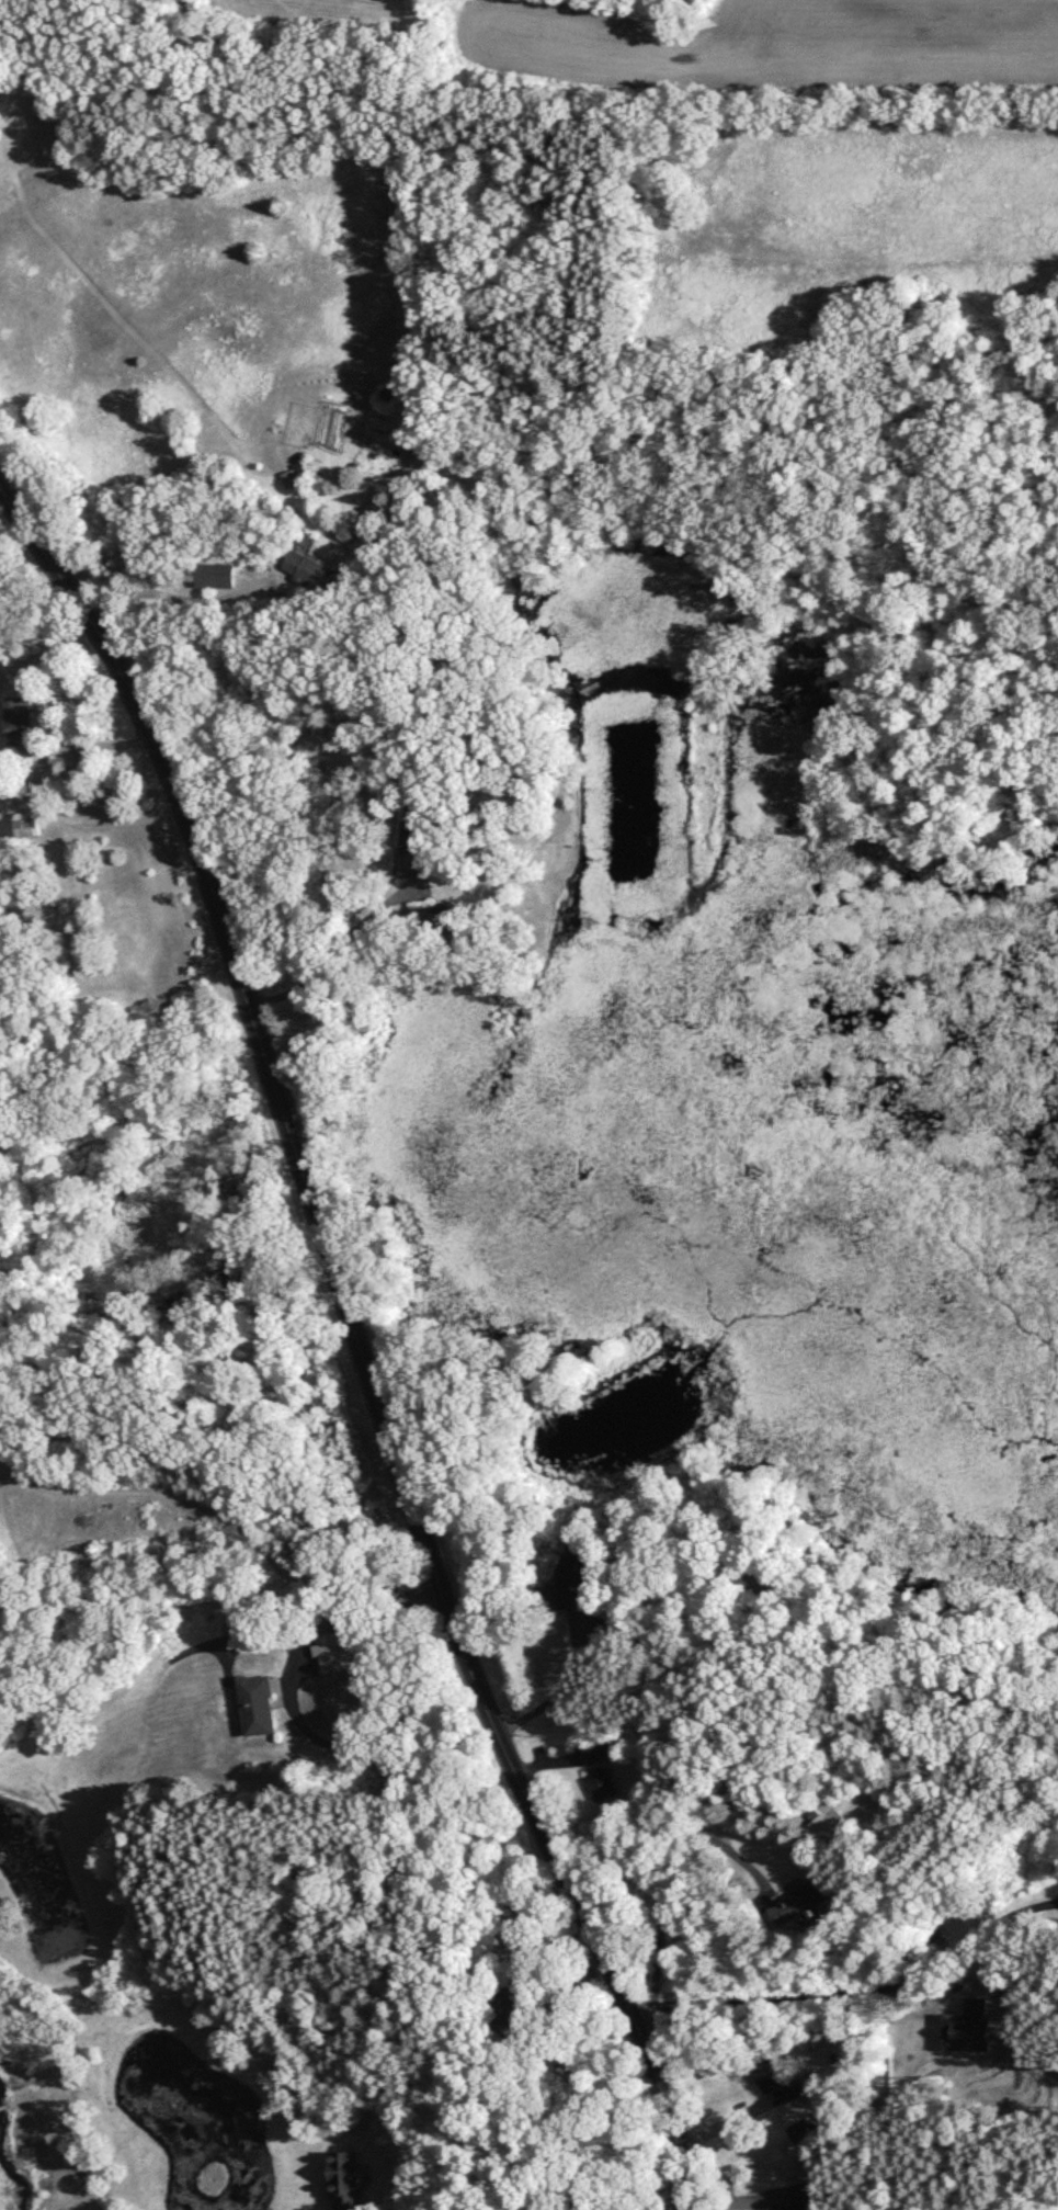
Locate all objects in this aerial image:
building: (312, 569)
building: (217, 575)
road: (182, 598)
building: (18, 723)
building: (26, 824)
building: (414, 837)
road: (331, 956)
road: (361, 1338)
building: (572, 1578)
building: (340, 1651)
road: (564, 1682)
road: (289, 1702)
building: (258, 1703)
building: (601, 1748)
building: (601, 1784)
building: (822, 1827)
road: (674, 1870)
building: (798, 1902)
road: (855, 1990)
building: (968, 2027)
building: (769, 2075)
building: (803, 2128)
building: (344, 2179)
building: (803, 2195)

